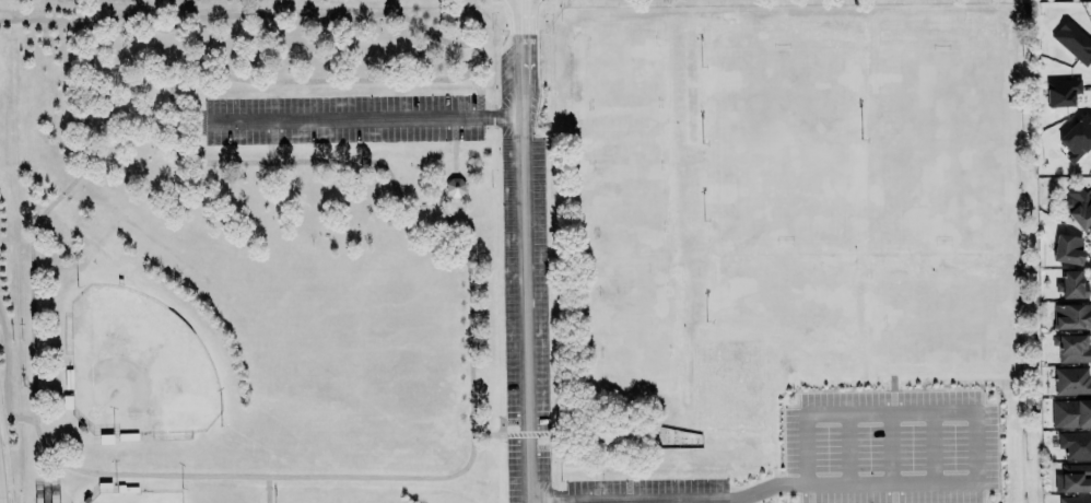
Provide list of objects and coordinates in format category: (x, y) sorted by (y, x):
building: (1072, 39)
park: (613, 75)
road: (477, 86)
building: (1061, 93)
parking lot: (342, 120)
road: (365, 121)
park: (943, 130)
park: (785, 133)
building: (1077, 139)
road: (453, 160)
building: (455, 187)
park: (618, 202)
building: (1078, 204)
building: (1067, 248)
road: (527, 250)
park: (526, 251)
building: (1071, 283)
park: (777, 292)
park: (943, 313)
building: (1071, 315)
parking lot: (527, 323)
park: (632, 330)
building: (1072, 347)
park: (138, 369)
building: (1071, 381)
park: (771, 396)
building: (1070, 413)
road: (473, 414)
road: (977, 429)
building: (612, 433)
road: (529, 438)
park: (945, 444)
building: (1075, 444)
building: (1072, 477)
road: (270, 491)
parking lot: (689, 492)
park: (142, 499)
road: (732, 500)
building: (1075, 500)

